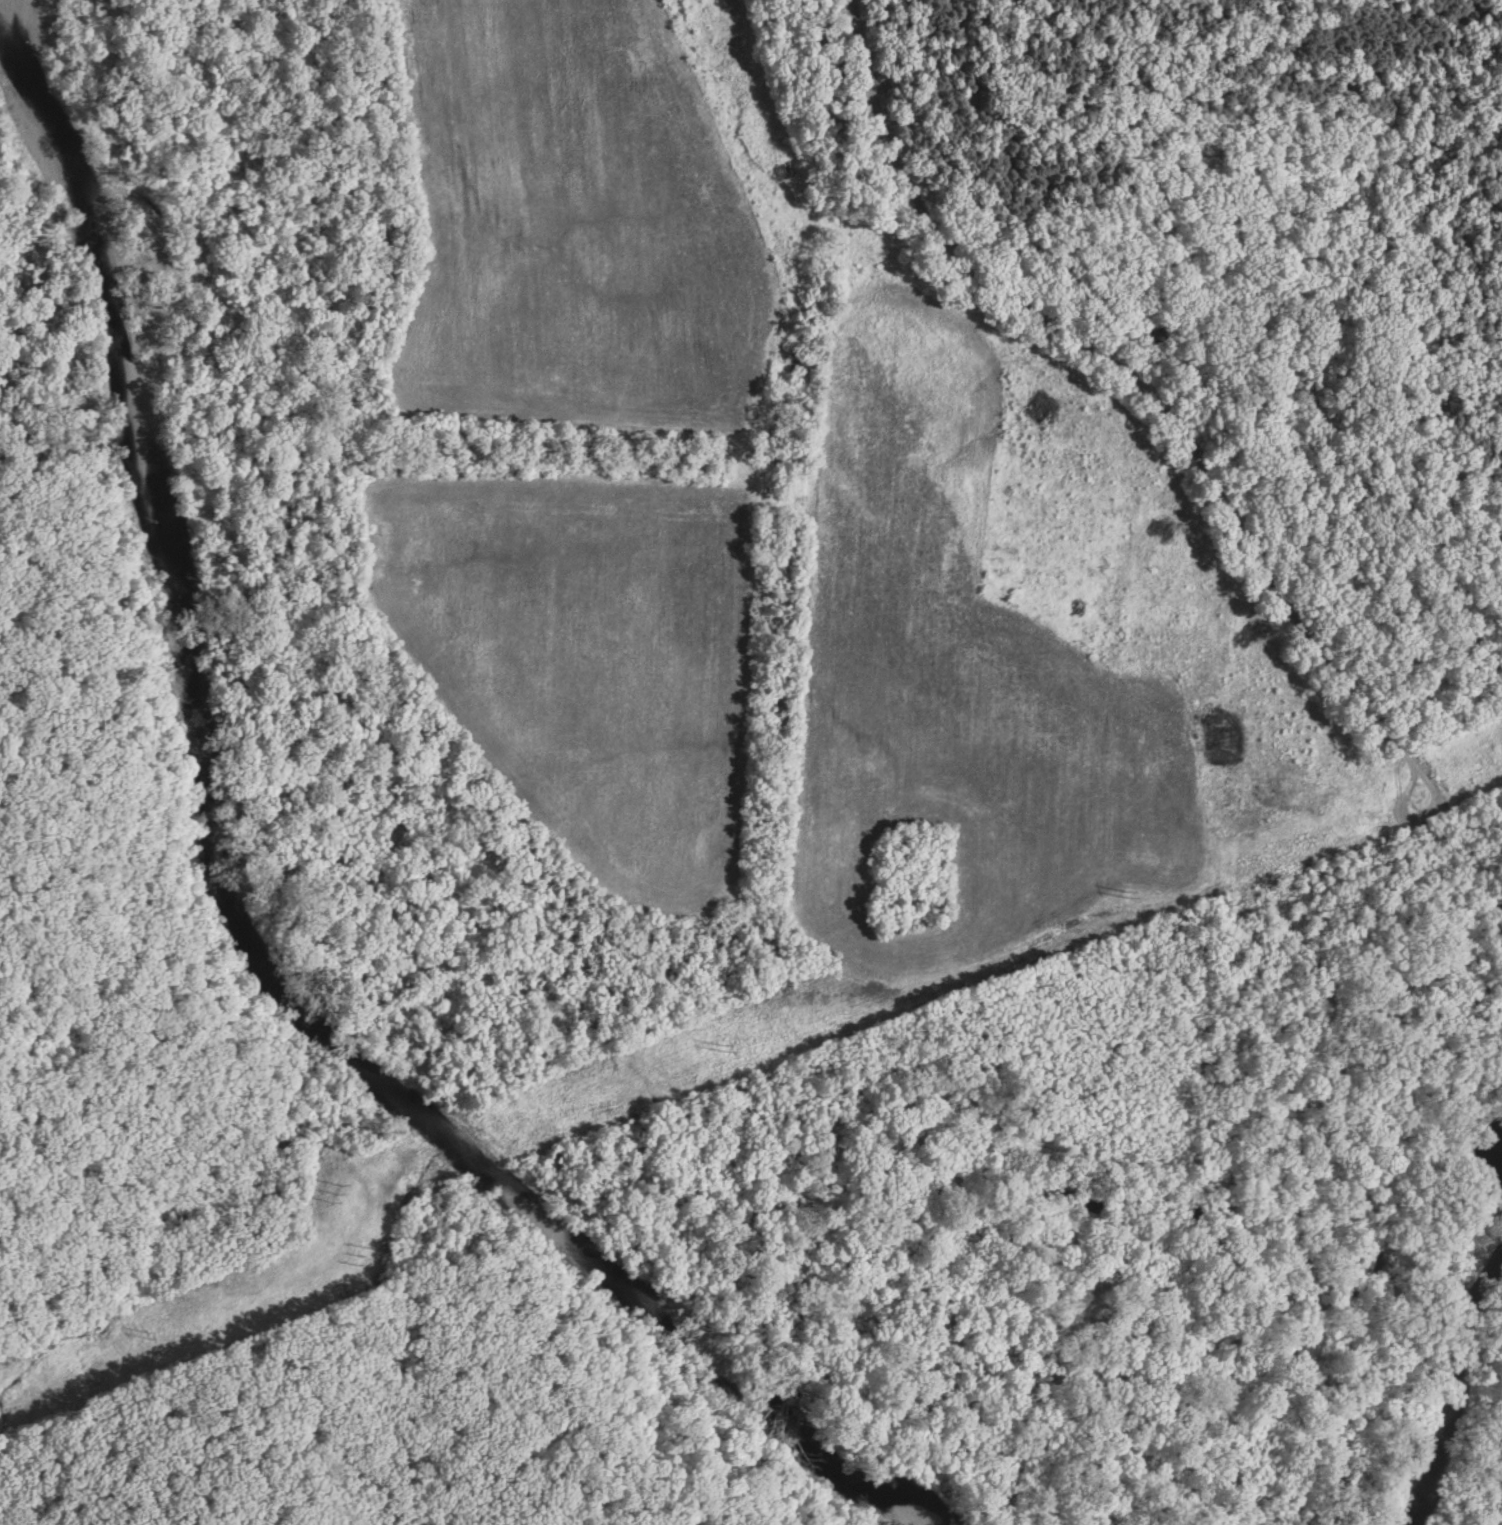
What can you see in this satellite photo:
road: (1149, 384)
power tower: (1112, 894)
power tower: (712, 1043)
power tower: (317, 1185)
power tower: (343, 1254)
power tower: (128, 1335)

